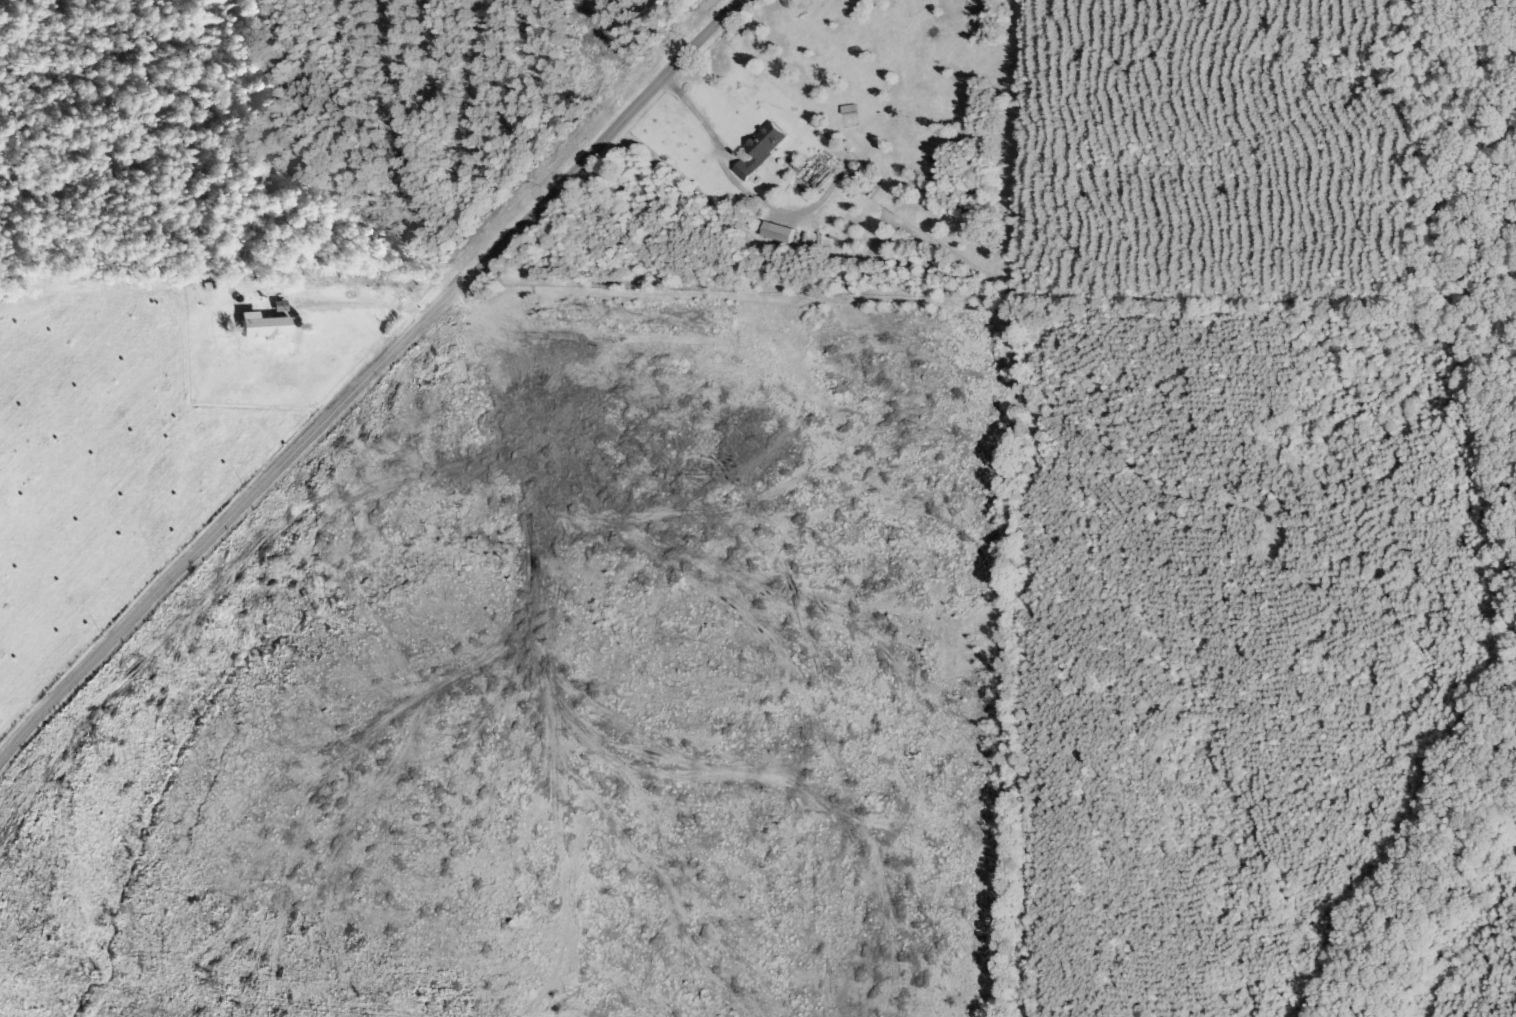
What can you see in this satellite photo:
road: (382, 435)
road: (13, 837)

